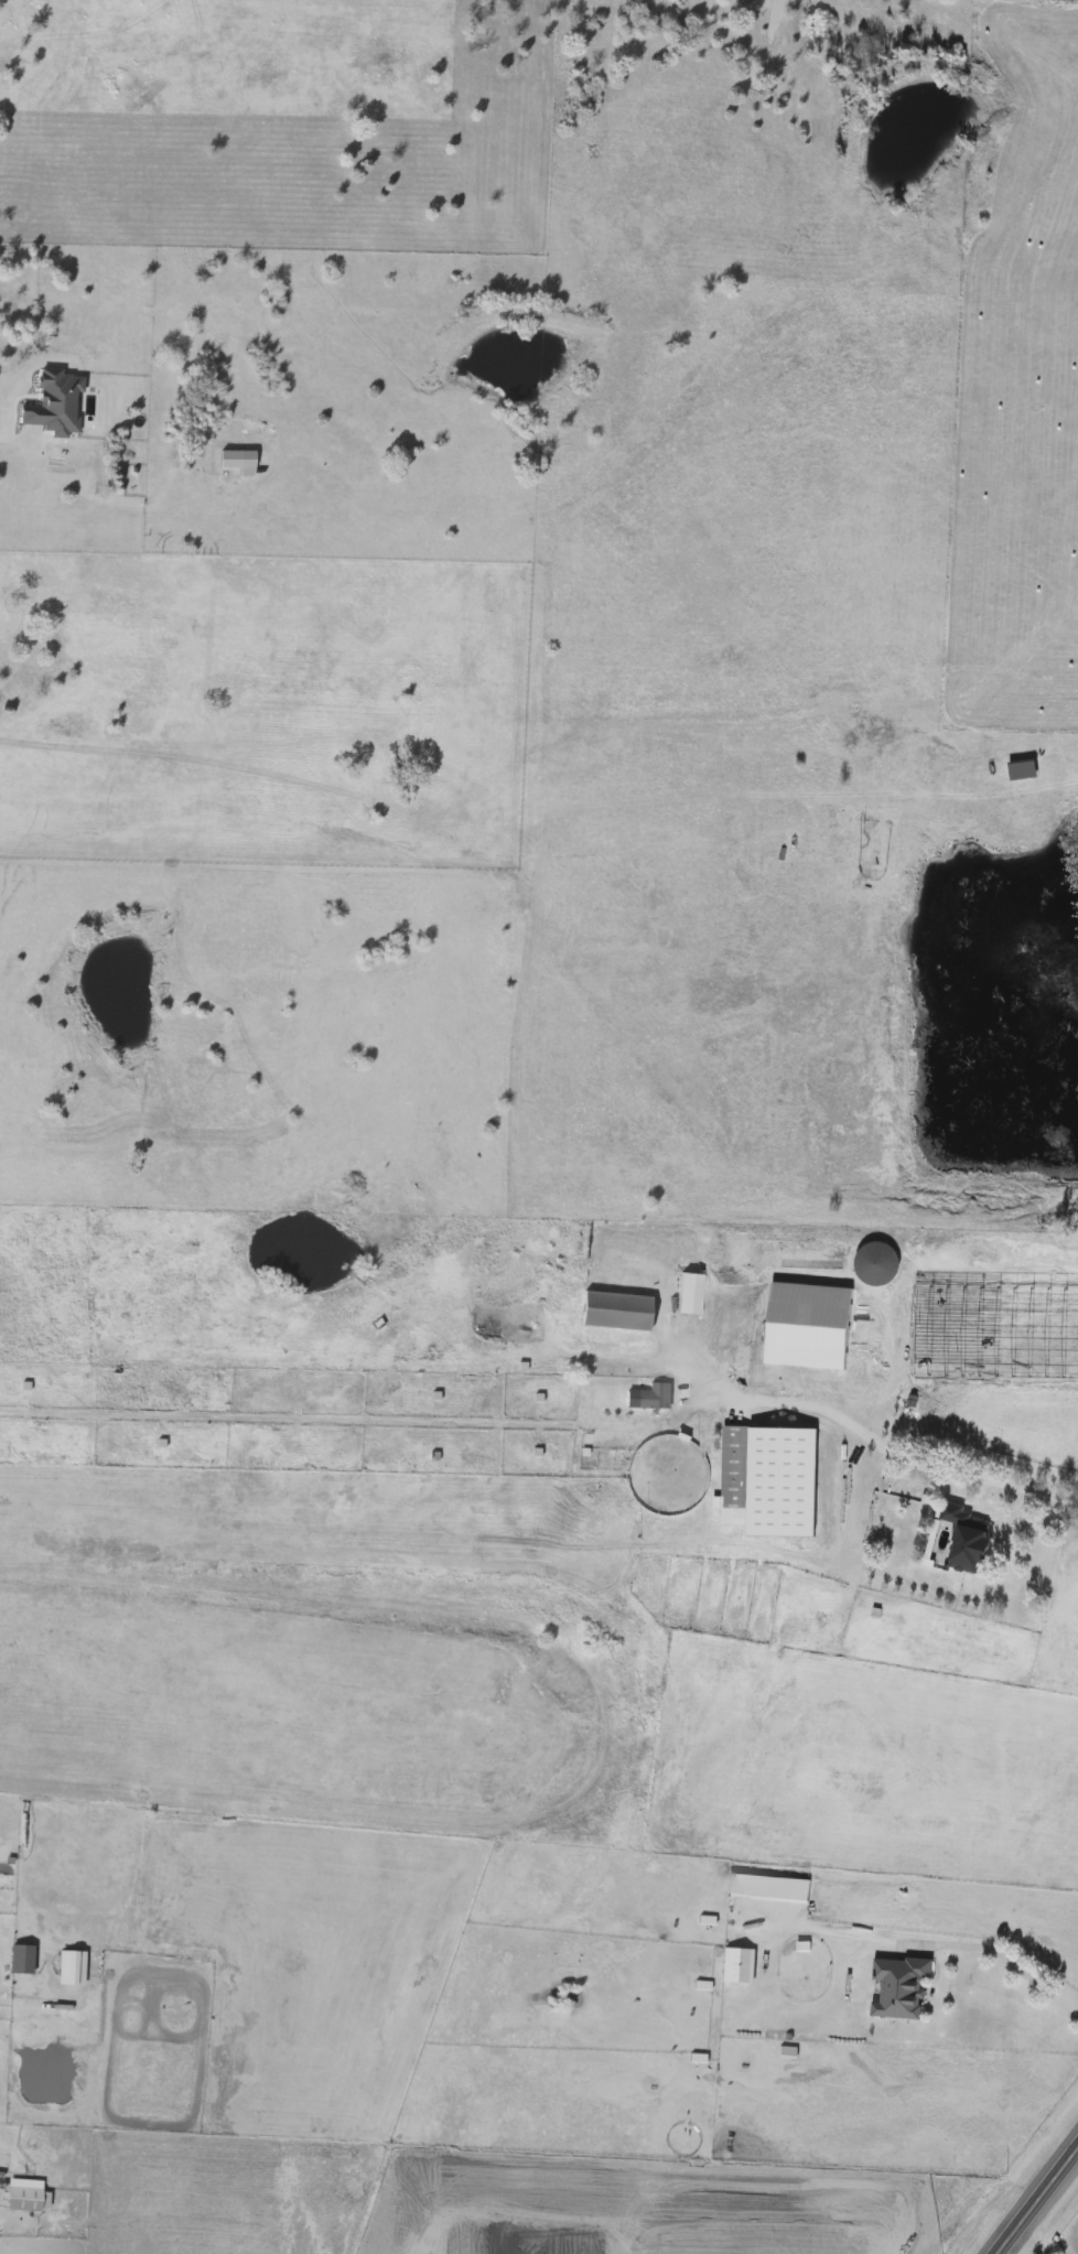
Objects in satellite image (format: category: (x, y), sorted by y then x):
road: (11, 442)
building: (877, 1264)
building: (691, 1290)
building: (617, 1312)
building: (650, 1400)
road: (904, 1452)
building: (772, 1487)
building: (967, 1541)
road: (924, 1945)
building: (24, 1961)
building: (737, 1967)
building: (74, 1970)
building: (899, 1988)
road: (1033, 2196)
building: (26, 2200)
road: (1030, 2236)

